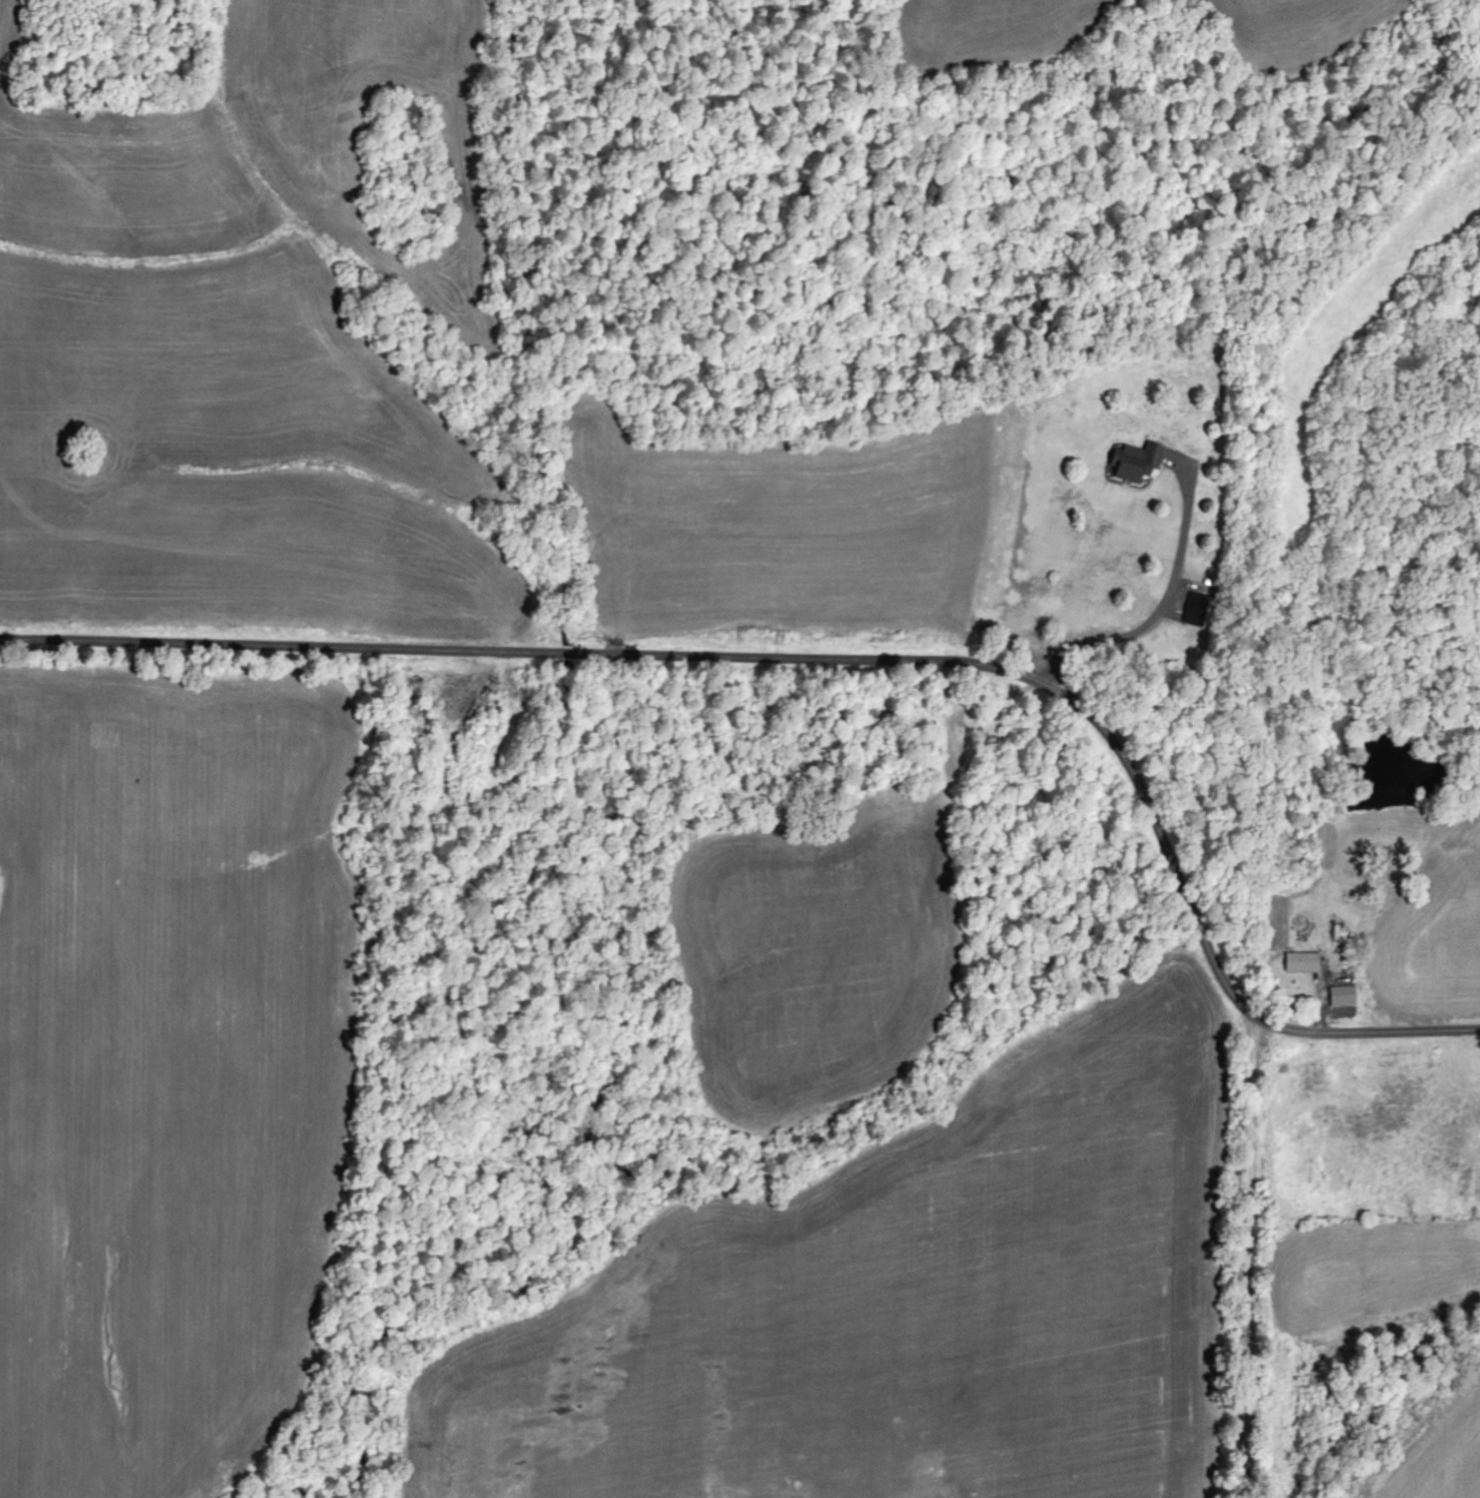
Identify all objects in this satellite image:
building: (1143, 463)
building: (1200, 610)
road: (835, 659)
building: (1307, 963)
road: (1250, 1255)

